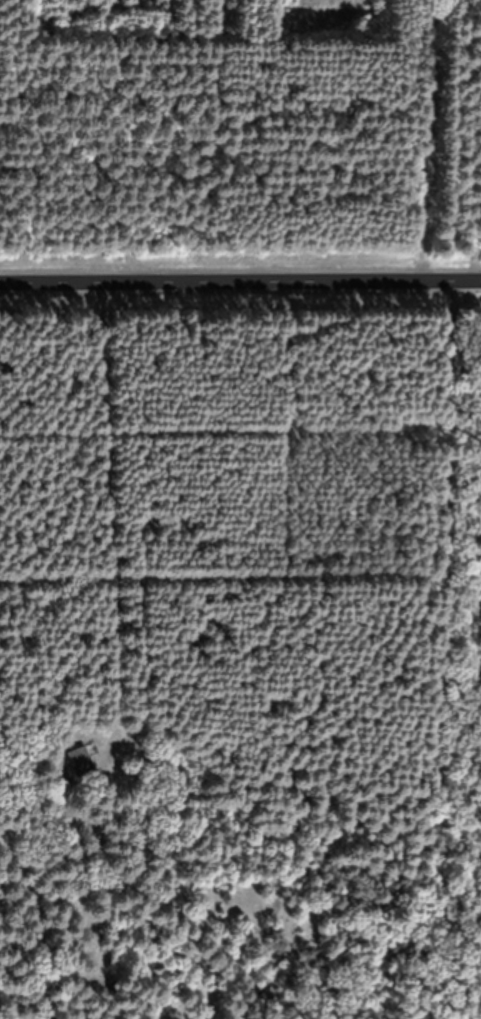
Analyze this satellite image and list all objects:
road: (240, 282)
building: (84, 773)
building: (63, 805)

